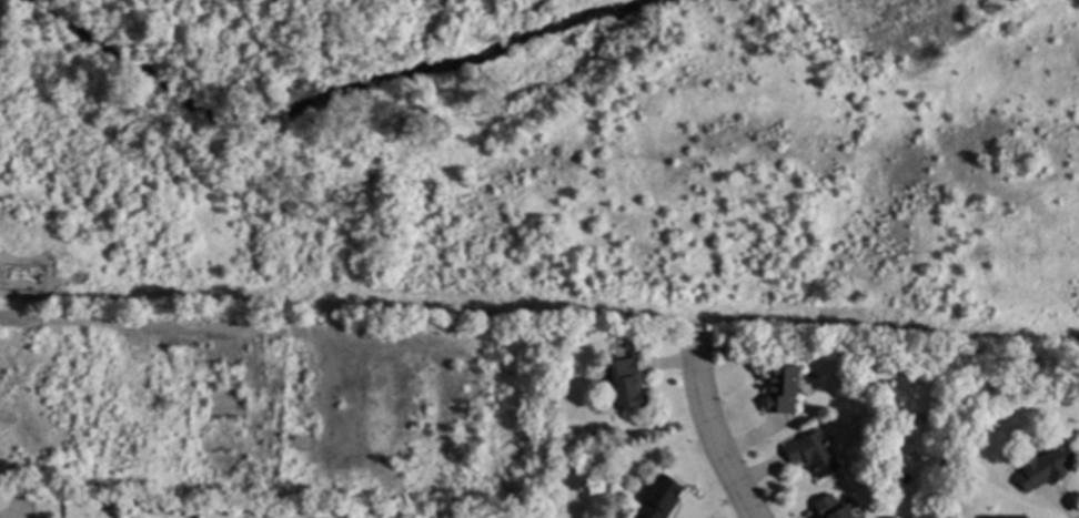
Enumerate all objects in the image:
building: (38, 274)
building: (785, 392)
building: (626, 394)
road: (715, 433)
building: (816, 453)
building: (1051, 463)
building: (73, 497)
building: (663, 498)
building: (834, 508)
building: (1007, 517)

